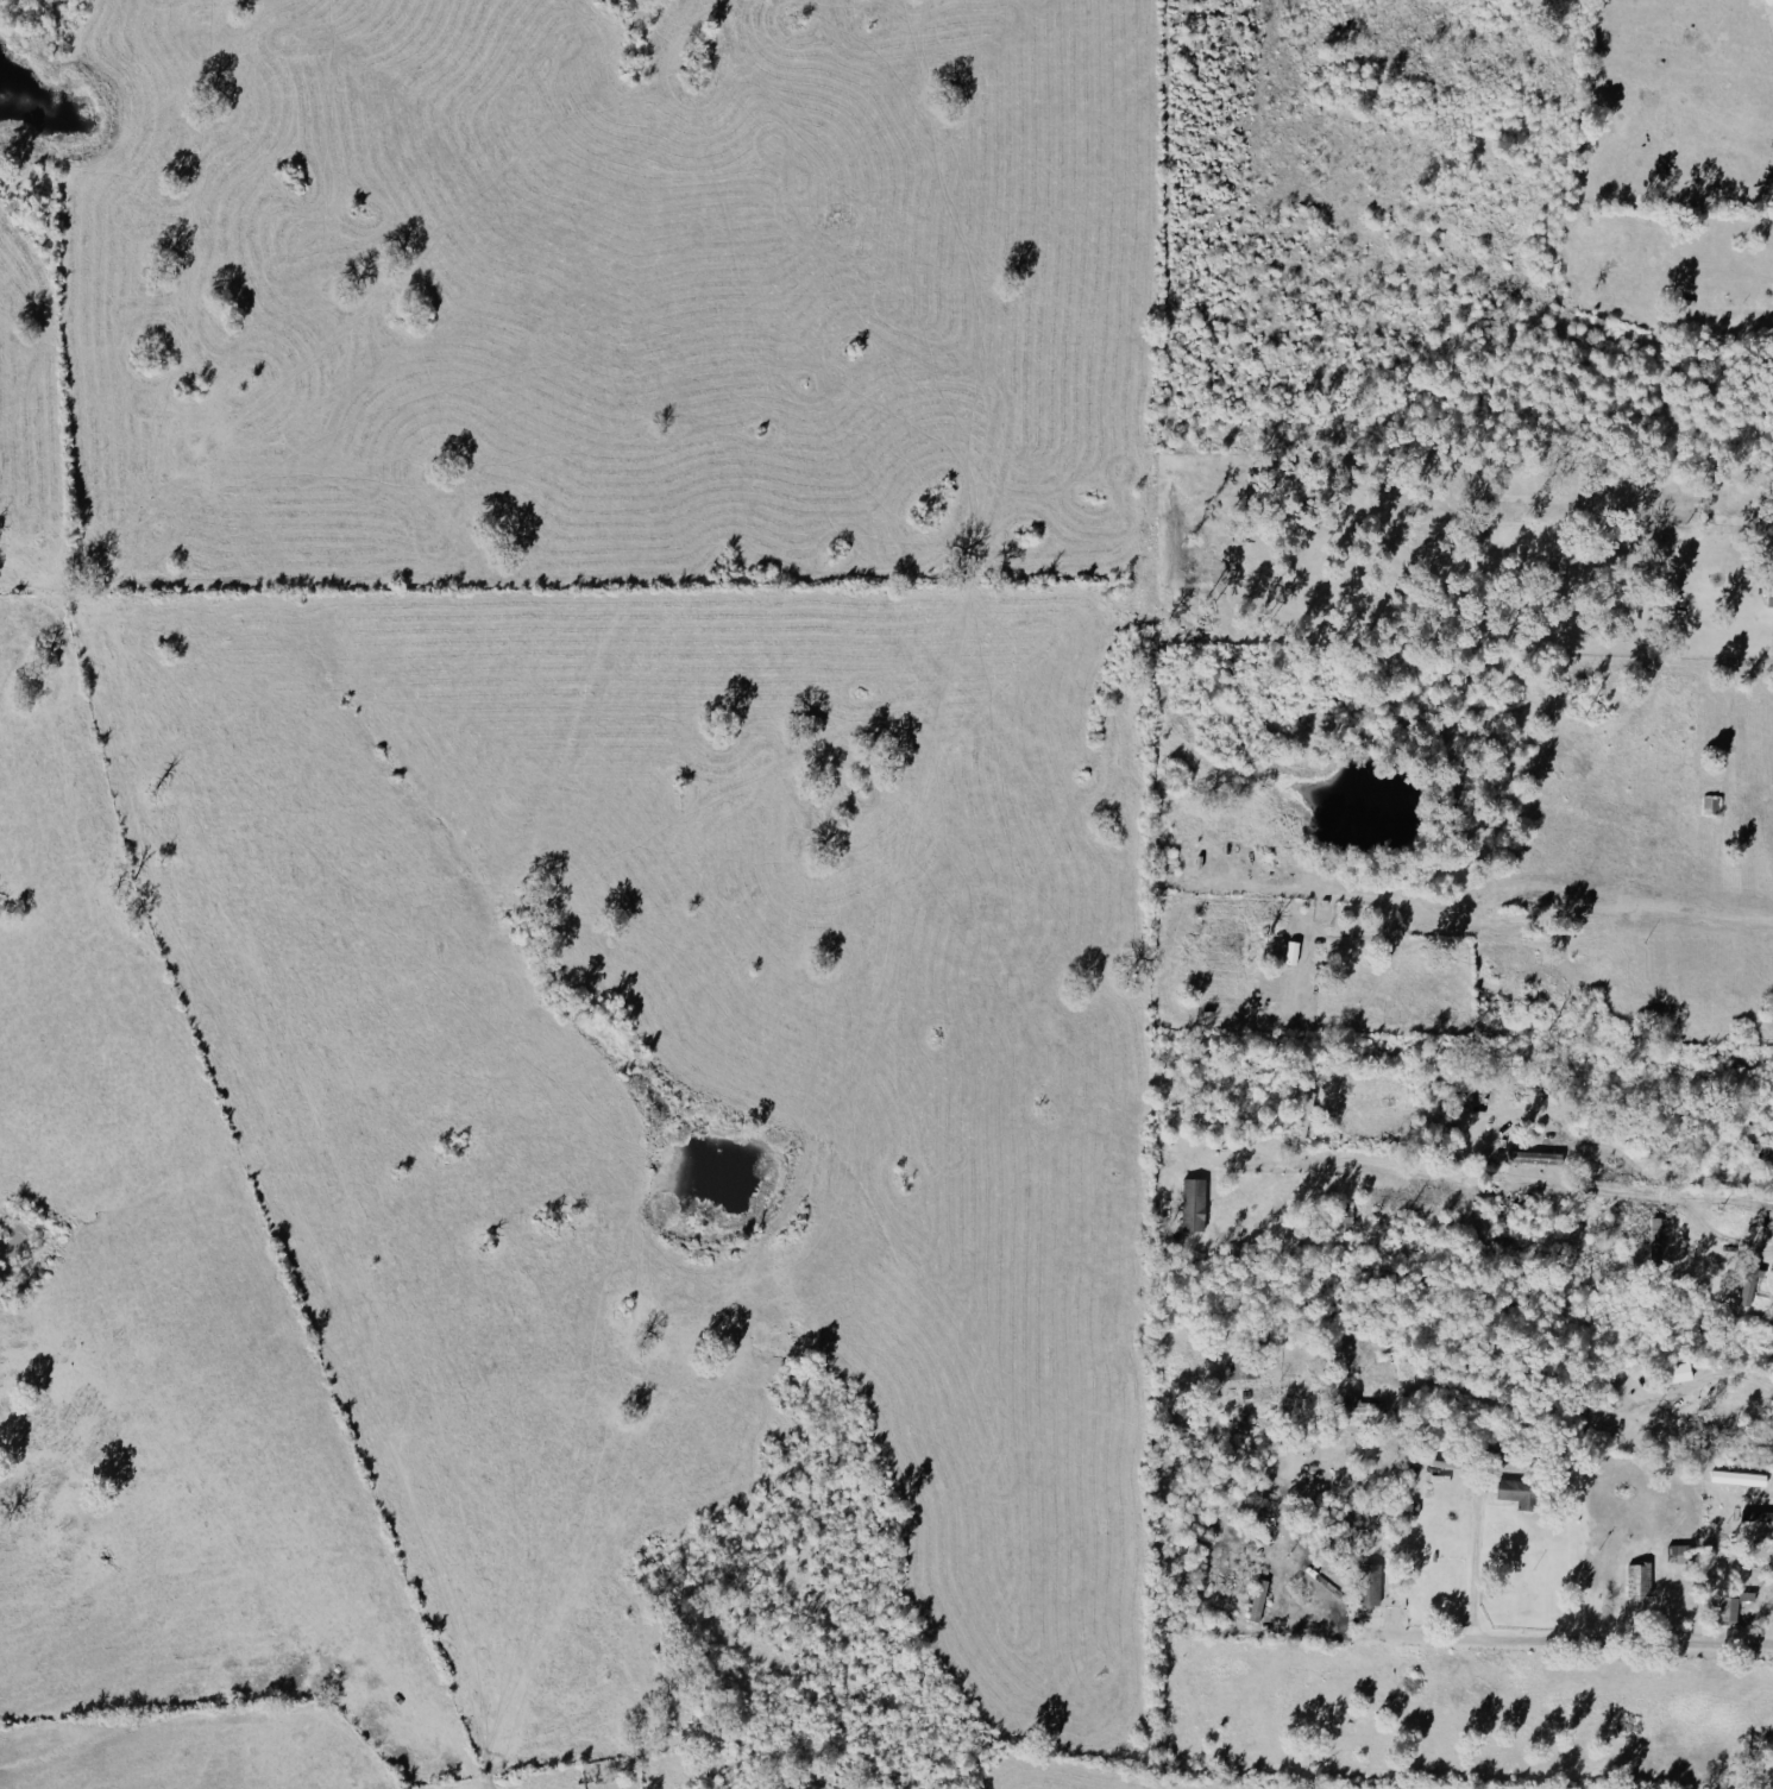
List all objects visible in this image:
road: (1743, 311)
road: (1558, 495)
building: (1769, 597)
road: (1528, 881)
building: (1534, 1159)
road: (1517, 1189)
building: (1193, 1205)
building: (1343, 1216)
building: (1750, 1283)
building: (1679, 1372)
road: (1712, 1378)
building: (1737, 1478)
building: (1517, 1492)
road: (1473, 1570)
building: (1639, 1577)
building: (1369, 1583)
building: (1747, 1595)
building: (1258, 1600)
building: (1729, 1611)
road: (1522, 1638)

